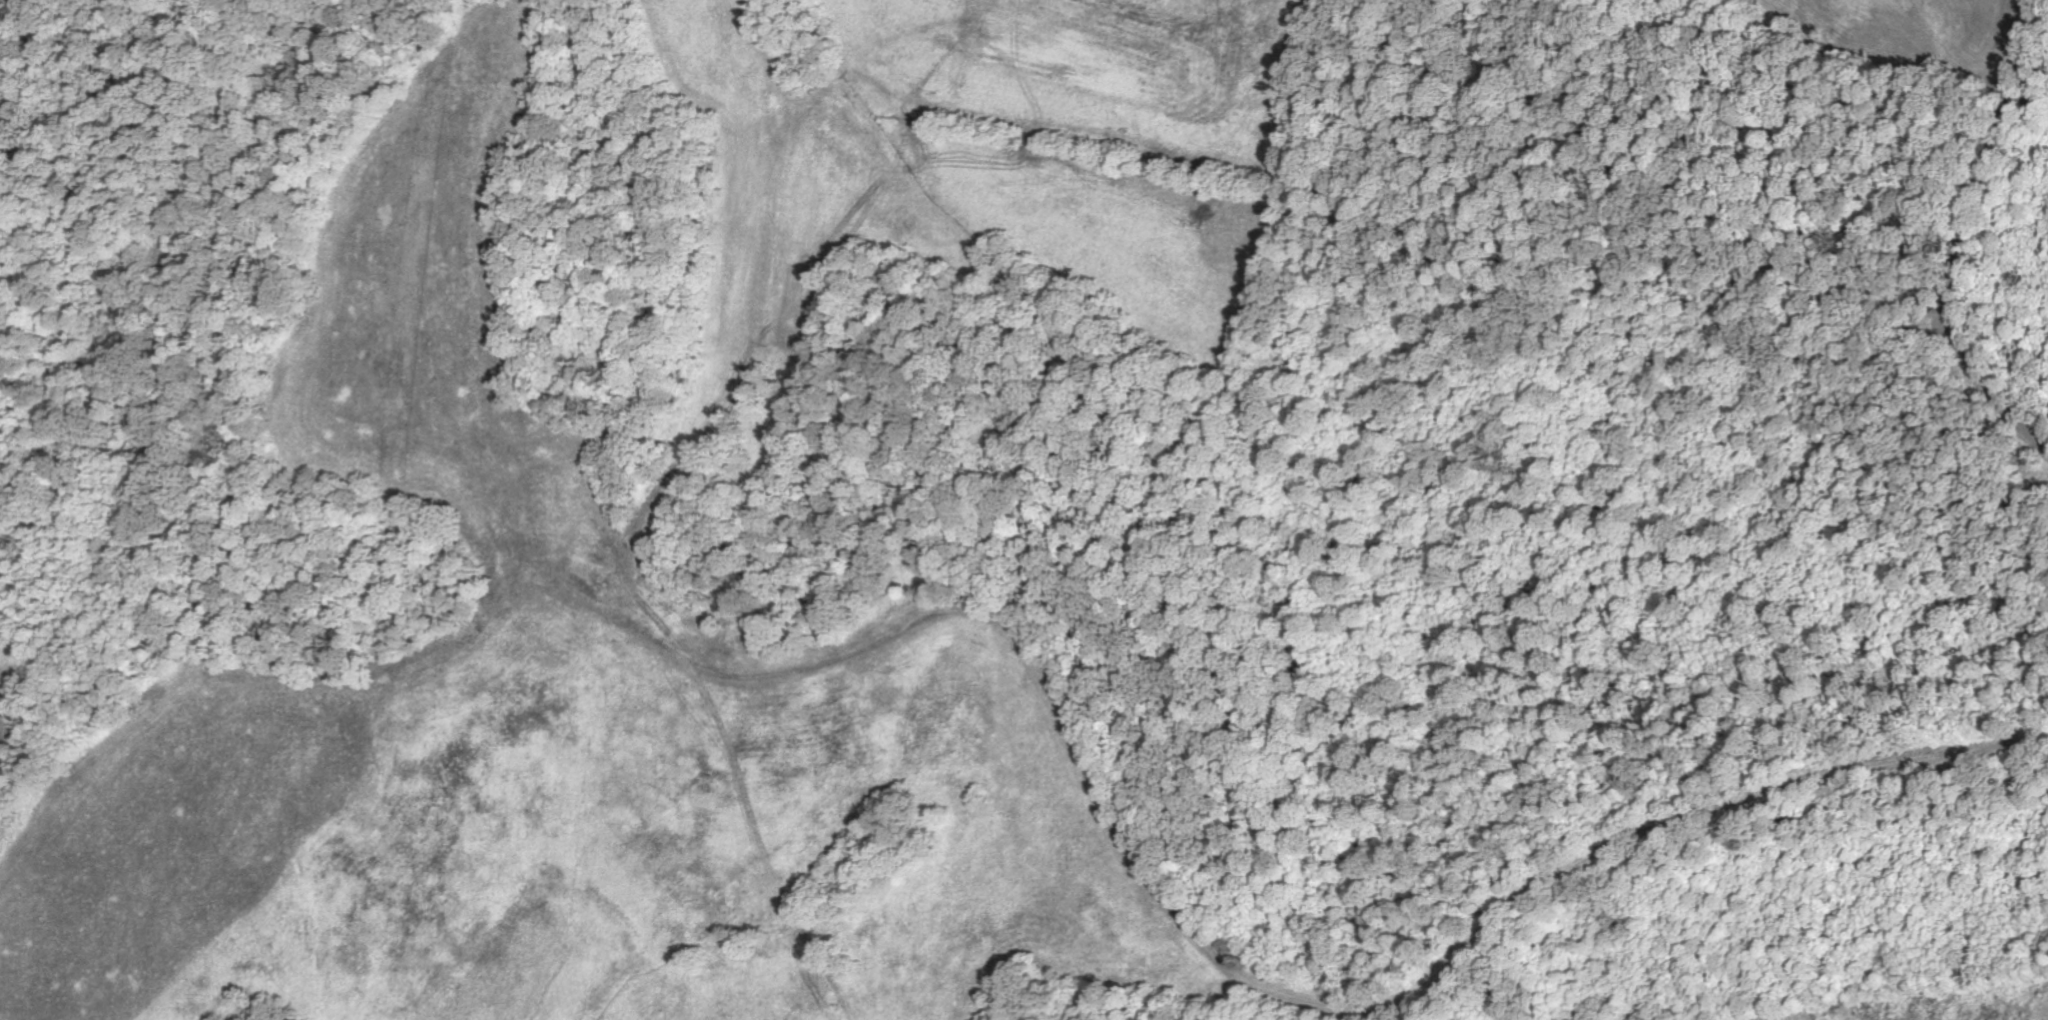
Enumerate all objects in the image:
road: (1963, 236)

